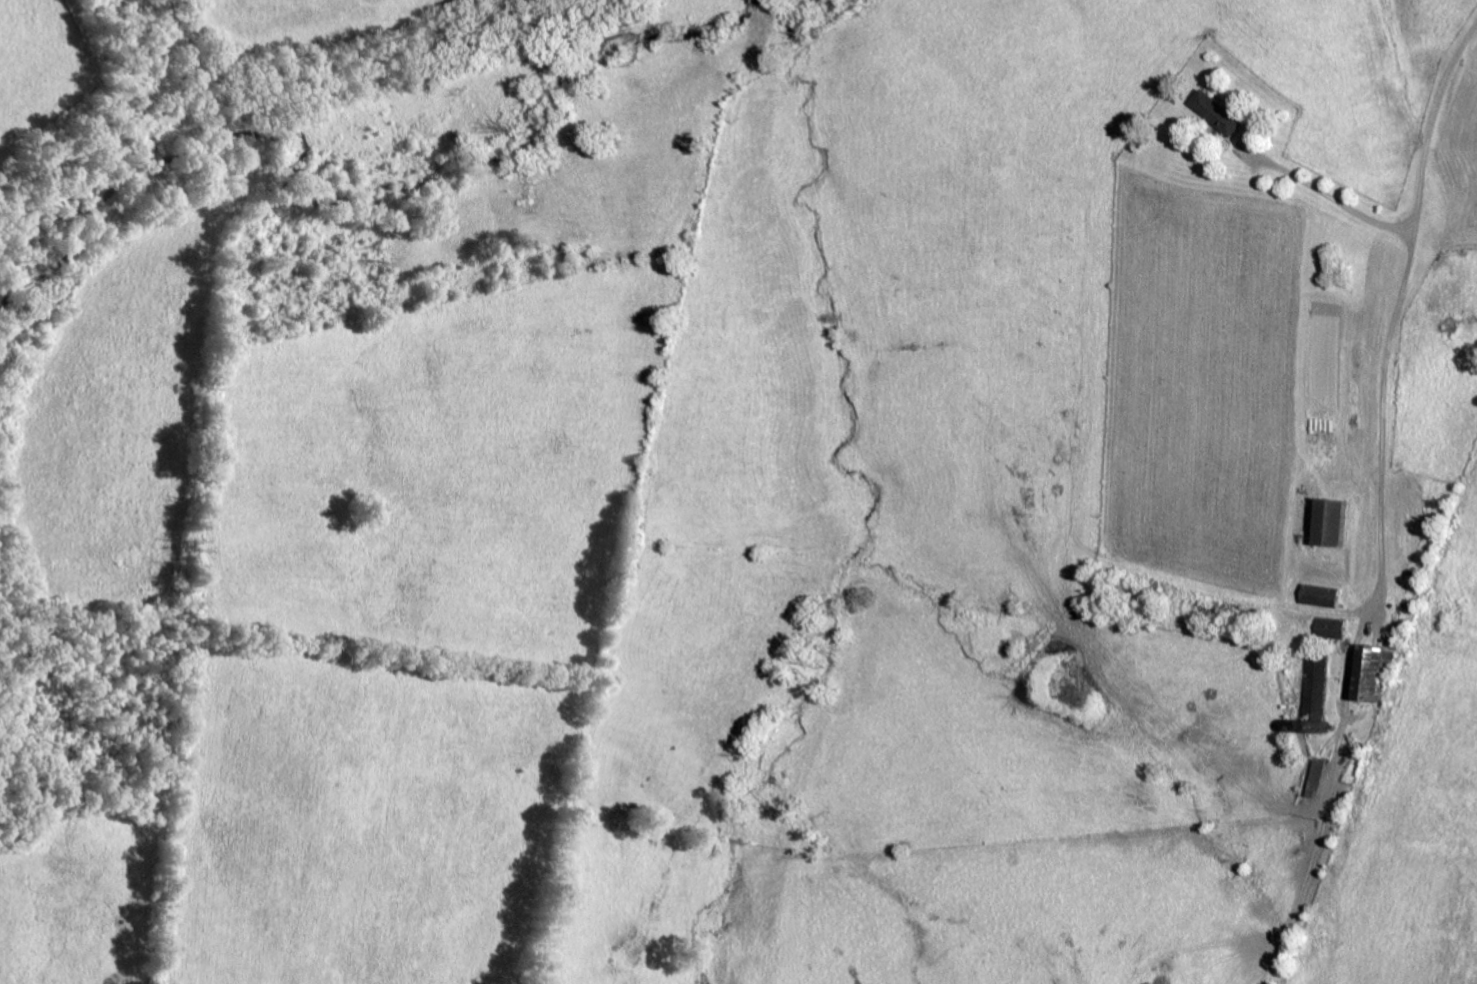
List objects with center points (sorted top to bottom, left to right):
building: (1213, 112)
road: (1327, 194)
road: (1392, 314)
building: (1325, 520)
building: (1316, 593)
building: (1326, 626)
building: (1367, 669)
building: (1311, 684)
road: (1400, 749)

